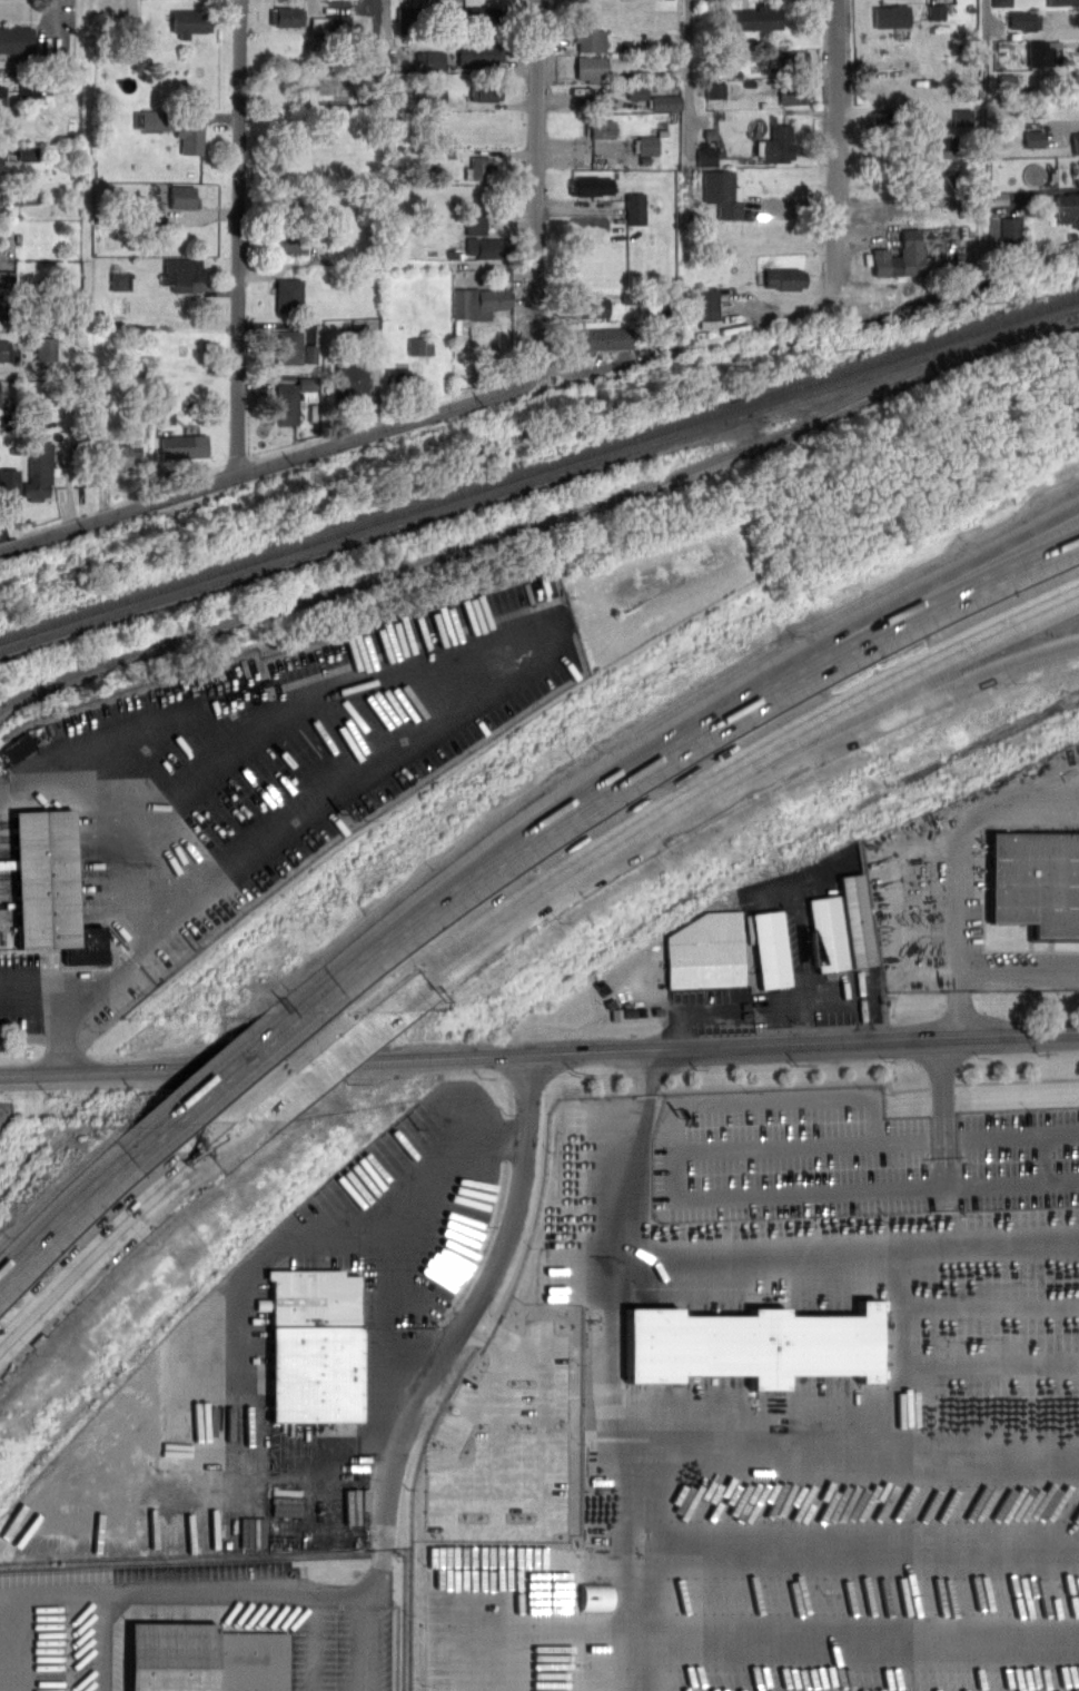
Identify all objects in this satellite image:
building: (1060, 1)
building: (1002, 2)
building: (937, 11)
building: (287, 16)
building: (482, 16)
building: (758, 17)
building: (892, 17)
building: (406, 19)
building: (1026, 19)
building: (190, 20)
building: (330, 23)
building: (16, 38)
building: (590, 39)
building: (1041, 51)
building: (479, 52)
building: (438, 60)
building: (786, 60)
building: (592, 68)
road: (689, 72)
building: (1075, 80)
building: (486, 90)
building: (716, 90)
building: (794, 91)
building: (28, 92)
building: (1, 95)
building: (438, 98)
building: (664, 101)
building: (963, 117)
building: (149, 119)
building: (888, 119)
building: (601, 128)
building: (190, 136)
building: (1035, 139)
road: (837, 141)
building: (1076, 142)
building: (942, 144)
building: (775, 145)
building: (649, 146)
building: (27, 154)
building: (706, 154)
building: (1, 157)
building: (0, 164)
building: (479, 167)
building: (1035, 174)
road: (536, 184)
building: (590, 186)
building: (724, 192)
building: (28, 194)
building: (181, 196)
building: (635, 208)
building: (1068, 208)
building: (476, 225)
building: (1012, 228)
road: (239, 237)
building: (289, 243)
building: (487, 246)
building: (900, 256)
building: (182, 273)
building: (7, 278)
building: (783, 278)
building: (288, 294)
building: (479, 300)
building: (709, 304)
building: (590, 306)
building: (4, 307)
road: (794, 311)
building: (605, 338)
building: (288, 346)
building: (420, 346)
building: (46, 348)
building: (4, 350)
building: (310, 353)
road: (582, 372)
building: (354, 377)
building: (398, 378)
building: (0, 384)
building: (286, 403)
building: (166, 413)
building: (182, 446)
building: (119, 455)
road: (270, 464)
railway: (539, 467)
building: (38, 473)
railway: (538, 478)
building: (8, 484)
railway: (498, 532)
road: (904, 600)
road: (535, 659)
road: (802, 726)
building: (19, 746)
road: (672, 750)
road: (805, 756)
parking lot: (241, 787)
road: (148, 812)
road: (960, 866)
road: (149, 872)
building: (1036, 880)
parking lot: (984, 884)
building: (49, 887)
building: (855, 919)
building: (828, 933)
road: (800, 941)
building: (770, 948)
road: (456, 949)
parking lot: (813, 950)
building: (705, 951)
road: (1019, 971)
road: (46, 987)
road: (833, 993)
road: (539, 1052)
road: (309, 1066)
road: (231, 1069)
road: (941, 1088)
road: (870, 1118)
road: (974, 1138)
road: (643, 1149)
parking lot: (849, 1159)
road: (830, 1190)
road: (81, 1201)
road: (117, 1232)
road: (857, 1246)
road: (474, 1306)
building: (314, 1344)
building: (751, 1344)
road: (903, 1345)
parking lot: (291, 1364)
road: (384, 1393)
parking lot: (506, 1442)
road: (862, 1445)
road: (645, 1447)
parking lot: (793, 1454)
road: (447, 1457)
road: (521, 1529)
road: (862, 1541)
road: (378, 1572)
road: (140, 1594)
parking lot: (197, 1626)
road: (373, 1642)
road: (105, 1643)
road: (863, 1643)
building: (206, 1658)
building: (528, 1671)

